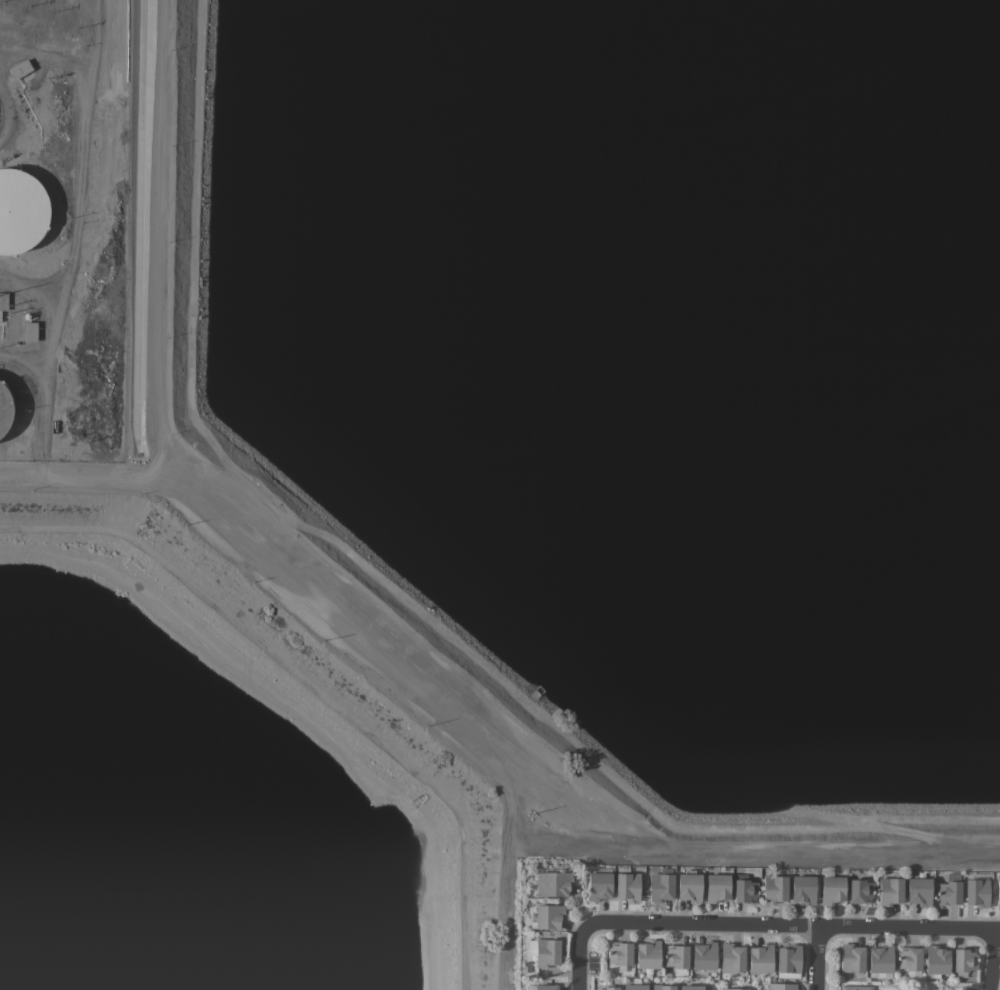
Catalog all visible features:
building: (20, 68)
road: (81, 207)
building: (21, 211)
road: (35, 290)
building: (3, 301)
building: (29, 331)
building: (4, 408)
road: (49, 477)
road: (249, 529)
building: (555, 883)
building: (598, 884)
building: (627, 885)
building: (661, 885)
building: (689, 886)
building: (716, 888)
building: (744, 889)
building: (774, 889)
building: (803, 889)
building: (832, 889)
building: (949, 890)
building: (998, 890)
building: (860, 891)
building: (890, 891)
building: (918, 891)
building: (976, 892)
building: (547, 916)
road: (791, 922)
building: (546, 952)
building: (619, 953)
building: (647, 954)
building: (703, 955)
road: (578, 956)
road: (821, 956)
building: (731, 957)
building: (676, 958)
building: (760, 958)
building: (788, 958)
building: (851, 958)
building: (908, 959)
building: (880, 960)
building: (935, 961)
building: (963, 961)
road: (994, 964)
building: (634, 985)
building: (781, 986)
building: (543, 987)
building: (662, 987)
building: (690, 987)
building: (855, 987)
building: (608, 988)
building: (733, 989)

